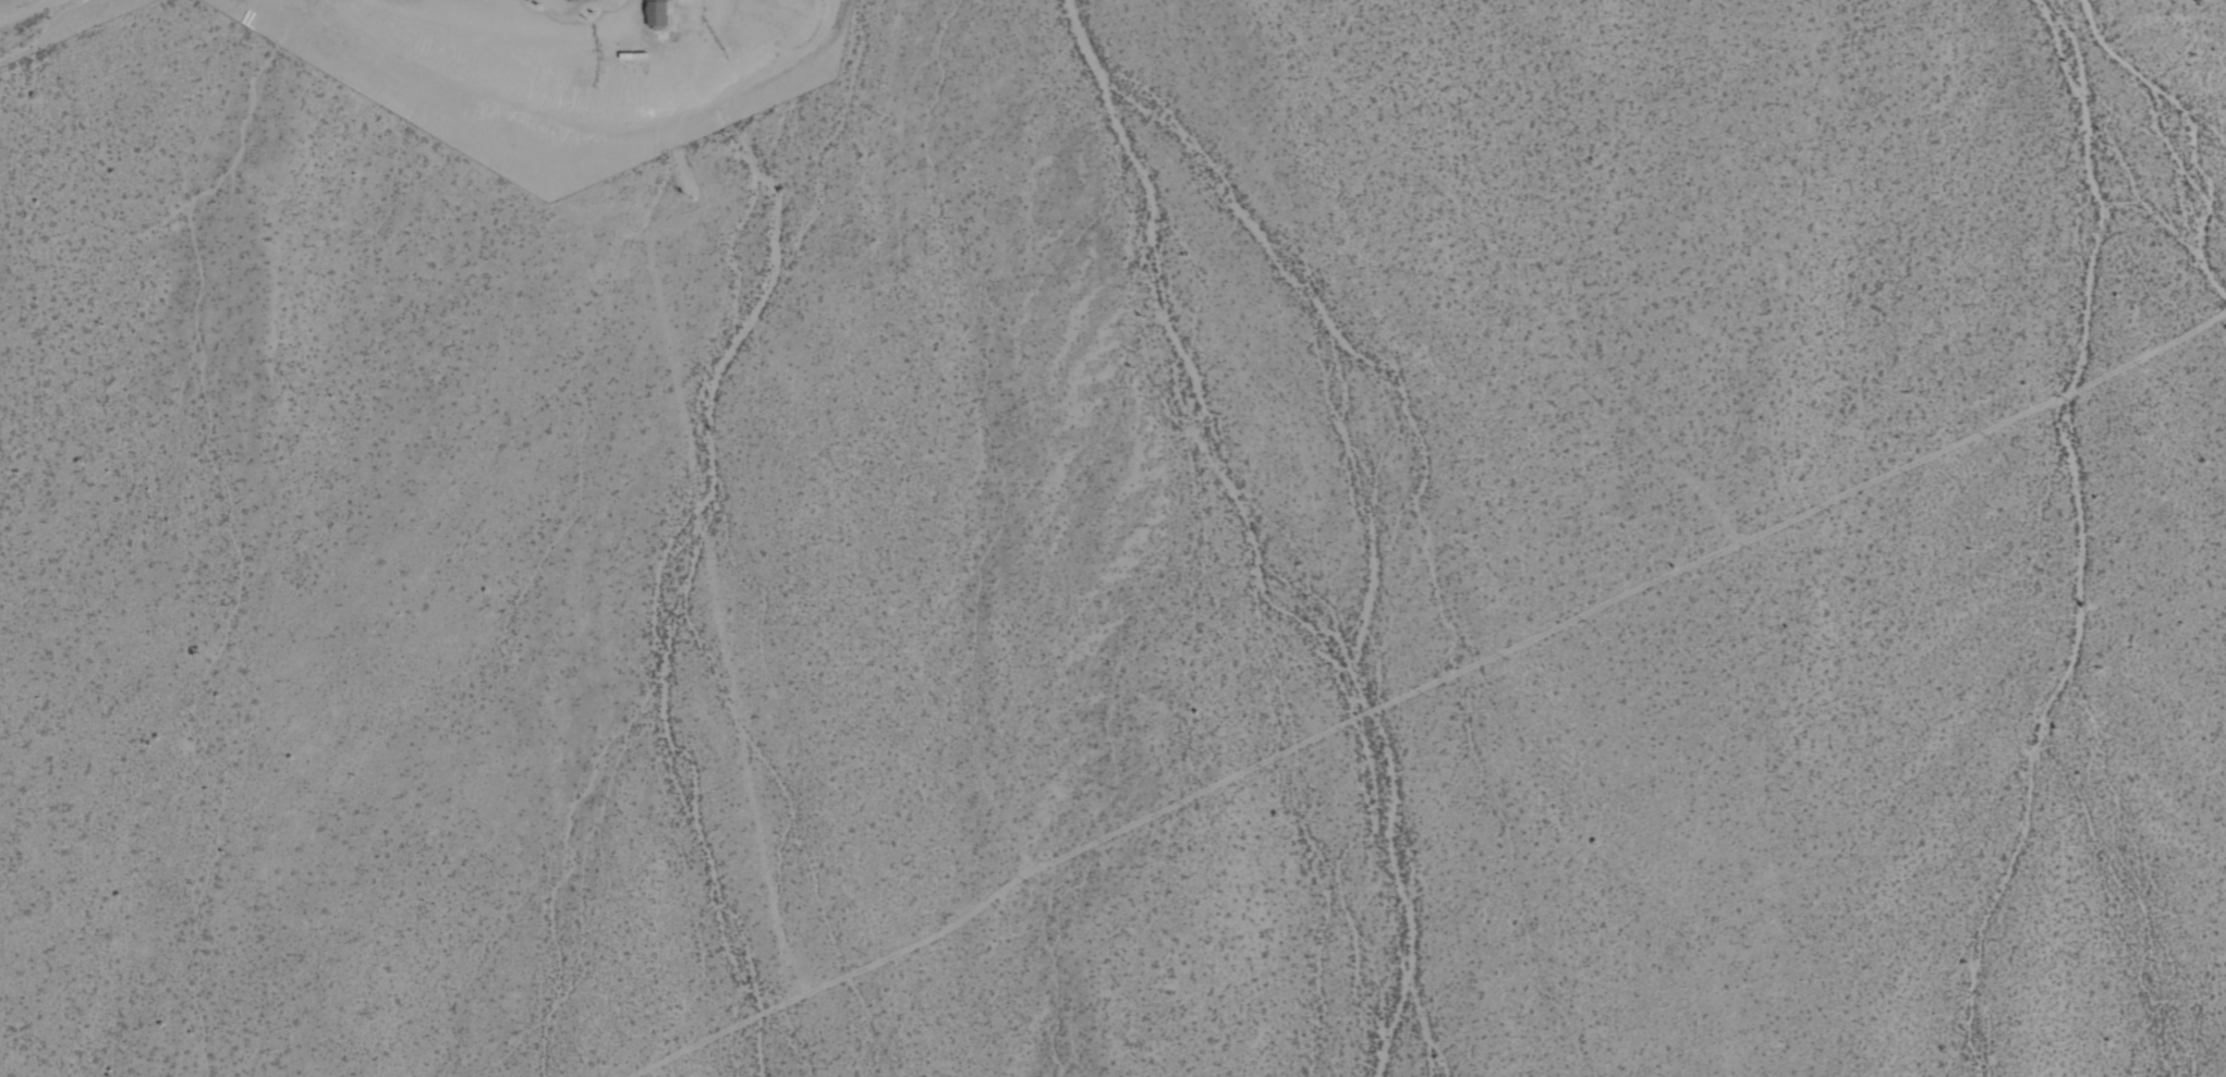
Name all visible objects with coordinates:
building: (567, 0)
road: (21, 9)
building: (654, 12)

